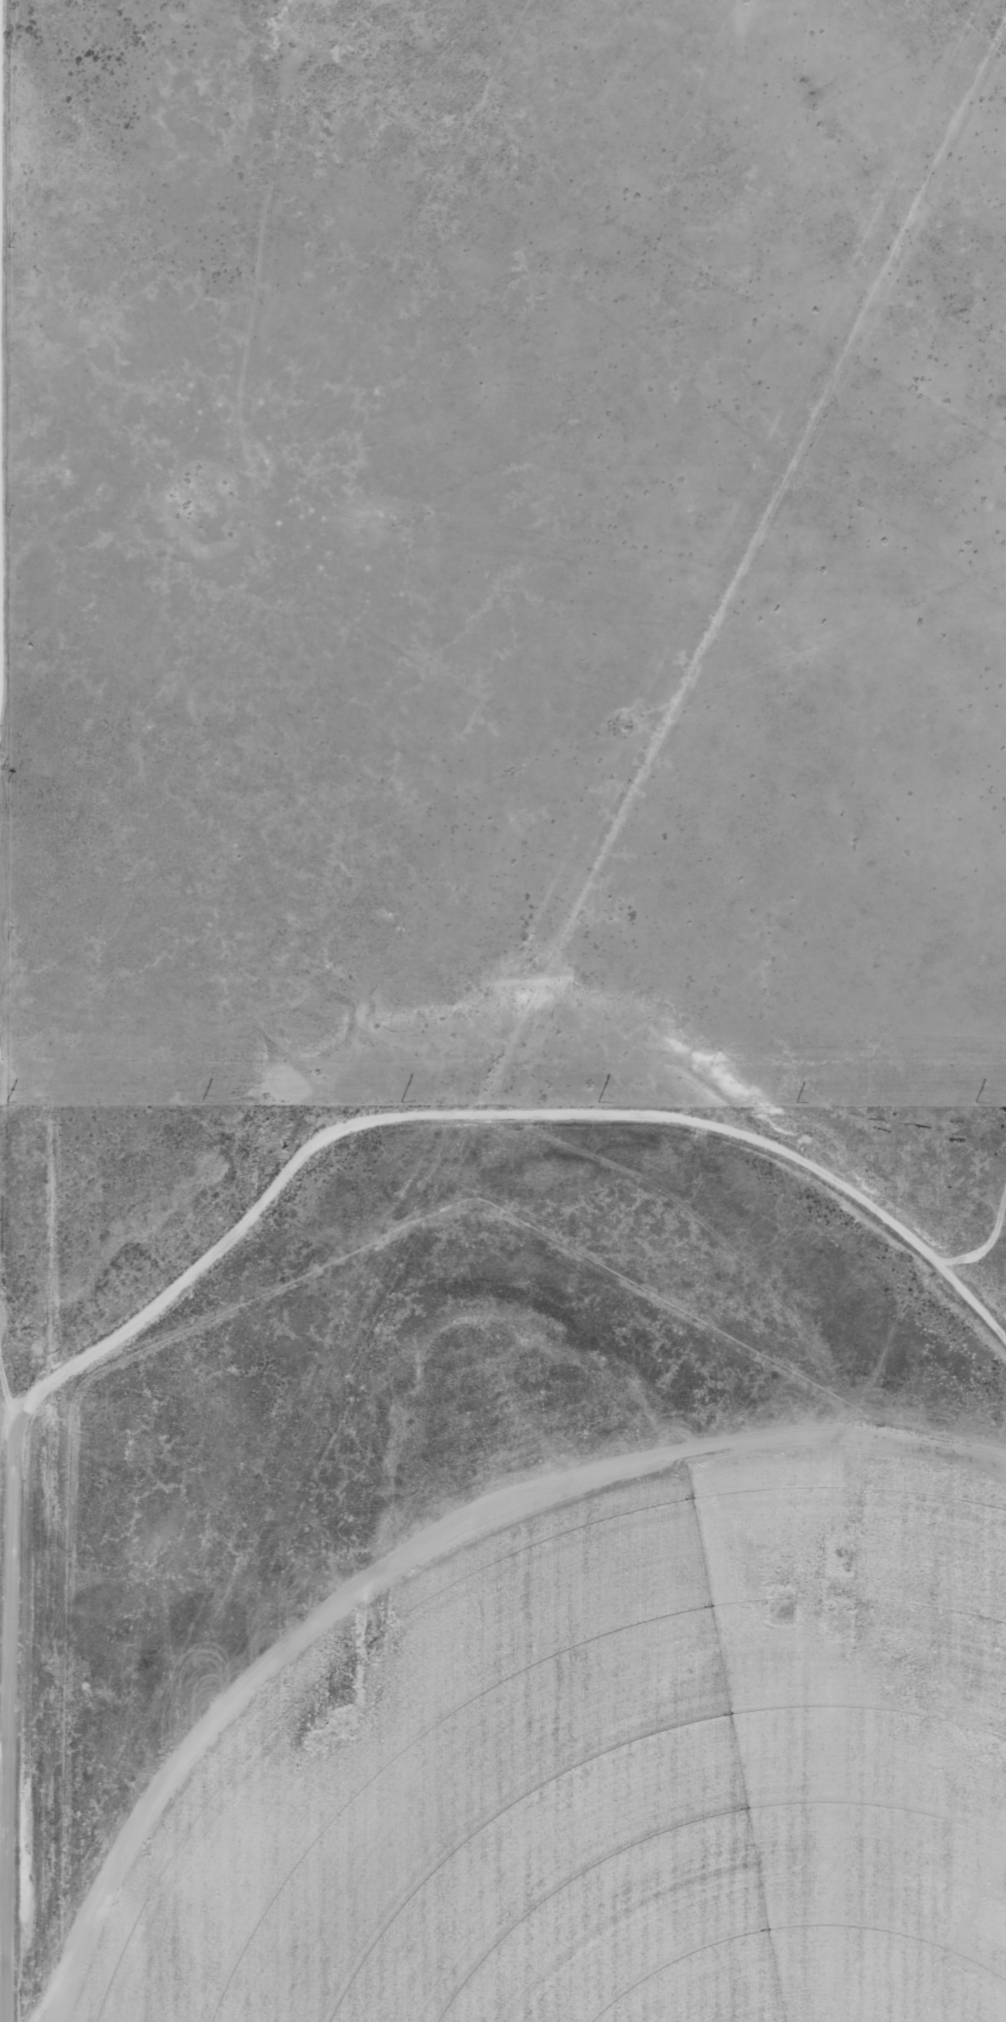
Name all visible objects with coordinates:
road: (273, 208)
road: (12, 394)

